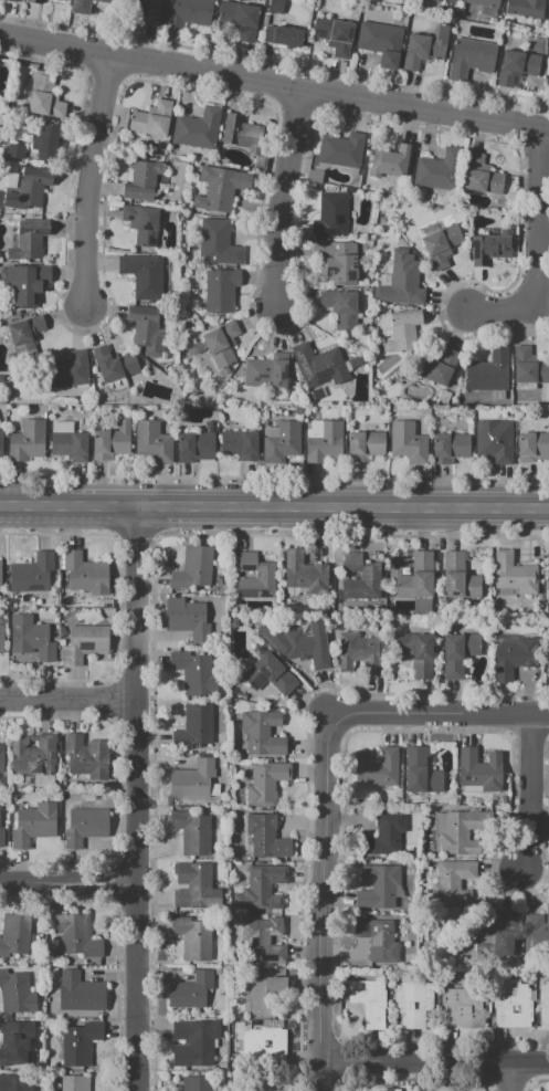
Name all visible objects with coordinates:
building: (9, 1)
building: (34, 1)
building: (445, 1)
building: (486, 3)
building: (86, 6)
building: (275, 7)
building: (145, 9)
building: (527, 9)
building: (189, 12)
building: (548, 12)
building: (240, 19)
building: (283, 35)
building: (336, 36)
building: (382, 42)
building: (426, 48)
building: (472, 59)
building: (518, 67)
road: (274, 83)
building: (45, 98)
building: (152, 119)
building: (199, 129)
building: (243, 134)
building: (46, 143)
building: (15, 150)
building: (342, 150)
building: (392, 161)
building: (179, 164)
building: (441, 170)
building: (483, 176)
road: (91, 181)
building: (142, 181)
building: (32, 187)
building: (224, 189)
road: (282, 199)
building: (331, 216)
building: (142, 223)
building: (405, 238)
building: (30, 240)
building: (220, 243)
building: (443, 245)
building: (493, 248)
road: (535, 248)
building: (338, 262)
building: (144, 275)
building: (407, 279)
building: (25, 285)
building: (222, 291)
building: (342, 307)
building: (148, 331)
building: (404, 331)
building: (25, 337)
building: (222, 344)
building: (324, 364)
building: (115, 368)
building: (436, 368)
building: (530, 368)
building: (68, 371)
building: (489, 371)
building: (266, 374)
building: (1, 409)
building: (28, 442)
building: (112, 442)
building: (154, 442)
building: (496, 442)
building: (283, 443)
building: (326, 443)
building: (410, 443)
building: (0, 444)
building: (241, 445)
building: (365, 445)
building: (71, 447)
building: (534, 448)
building: (196, 449)
building: (451, 449)
road: (274, 506)
building: (194, 569)
building: (0, 574)
building: (32, 574)
building: (86, 574)
building: (305, 574)
building: (516, 575)
building: (267, 576)
building: (371, 577)
building: (418, 578)
building: (460, 578)
building: (547, 592)
building: (188, 620)
building: (233, 622)
building: (2, 639)
building: (34, 641)
building: (85, 643)
building: (308, 648)
building: (460, 652)
building: (359, 654)
building: (418, 654)
building: (515, 658)
building: (194, 672)
building: (270, 674)
road: (68, 701)
road: (439, 713)
building: (196, 726)
building: (264, 734)
building: (34, 755)
building: (1, 758)
building: (88, 758)
building: (377, 770)
building: (481, 770)
building: (422, 773)
building: (198, 780)
building: (267, 783)
road: (531, 790)
road: (138, 798)
building: (38, 825)
building: (89, 827)
building: (196, 832)
building: (464, 832)
building: (387, 835)
building: (1, 837)
building: (267, 837)
building: (454, 882)
road: (70, 883)
building: (192, 884)
building: (379, 887)
building: (262, 889)
road: (323, 901)
building: (536, 930)
building: (18, 936)
building: (80, 936)
building: (500, 937)
building: (193, 938)
building: (264, 941)
building: (379, 941)
building: (192, 992)
building: (18, 993)
building: (83, 994)
building: (265, 995)
building: (370, 1003)
building: (414, 1003)
building: (513, 1005)
building: (545, 1007)
building: (464, 1008)
building: (17, 1042)
building: (194, 1042)
building: (81, 1043)
building: (265, 1046)
building: (222, 1059)
road: (435, 1061)
building: (221, 1066)
road: (510, 1076)
building: (17, 1083)
building: (75, 1083)
building: (197, 1083)
building: (260, 1083)
building: (445, 1088)
building: (389, 1090)

